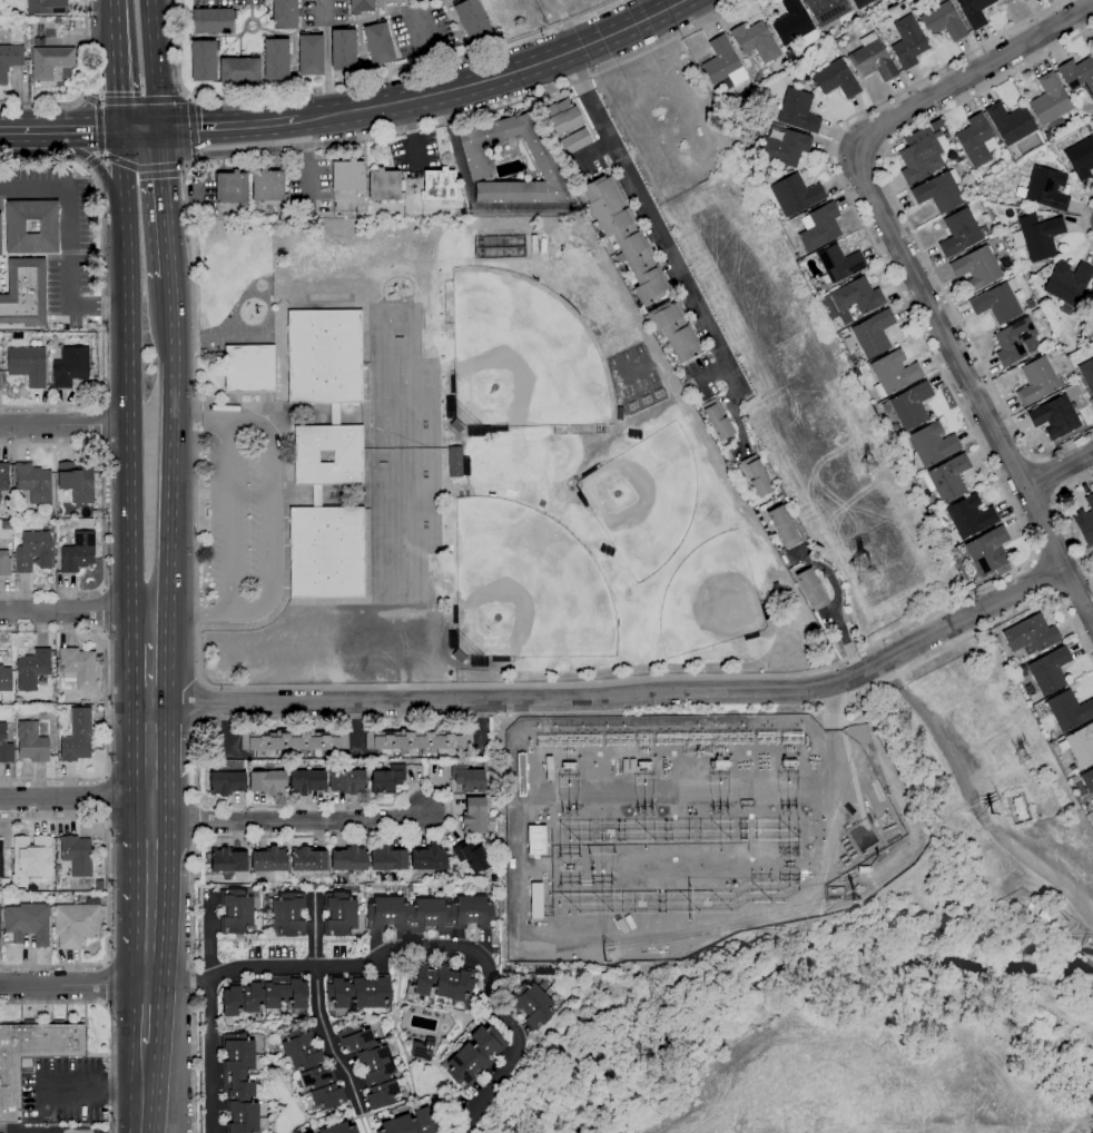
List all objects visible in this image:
building: (1022, 0)
building: (1024, 0)
parking lot: (226, 1)
building: (1006, 1)
building: (860, 3)
building: (47, 6)
building: (362, 6)
building: (905, 6)
building: (827, 9)
building: (974, 11)
parking lot: (324, 12)
building: (285, 14)
building: (472, 19)
building: (23, 21)
building: (213, 21)
building: (944, 21)
building: (792, 22)
parking lot: (420, 29)
building: (39, 41)
building: (755, 41)
building: (908, 42)
building: (378, 43)
building: (343, 49)
building: (788, 51)
building: (311, 56)
building: (276, 58)
road: (327, 58)
building: (872, 59)
building: (9, 60)
building: (50, 60)
building: (204, 60)
building: (722, 62)
building: (786, 63)
road: (118, 65)
road: (156, 65)
building: (239, 70)
road: (101, 73)
road: (495, 73)
road: (968, 75)
building: (1079, 78)
building: (836, 79)
road: (357, 80)
building: (799, 81)
road: (83, 90)
road: (89, 99)
road: (144, 99)
building: (1050, 100)
building: (798, 110)
building: (561, 117)
building: (1010, 122)
road: (229, 125)
road: (98, 128)
road: (194, 128)
road: (140, 129)
traffic signals: (160, 129)
building: (774, 129)
road: (88, 130)
traffic signals: (121, 130)
road: (28, 131)
building: (975, 139)
building: (573, 141)
building: (785, 147)
building: (1044, 149)
building: (1081, 158)
building: (919, 159)
road: (93, 161)
building: (545, 162)
road: (97, 166)
road: (144, 167)
building: (769, 169)
building: (347, 175)
building: (976, 178)
building: (268, 185)
building: (384, 185)
building: (439, 185)
building: (232, 187)
parking lot: (309, 187)
building: (1045, 188)
building: (939, 190)
building: (795, 194)
road: (167, 203)
building: (284, 208)
building: (461, 213)
road: (652, 217)
road: (1084, 221)
building: (31, 226)
building: (819, 226)
road: (913, 227)
building: (961, 233)
building: (1038, 236)
building: (624, 237)
building: (0, 239)
road: (67, 240)
building: (501, 246)
building: (838, 264)
building: (977, 268)
building: (1067, 284)
road: (101, 287)
building: (24, 293)
building: (857, 297)
building: (997, 302)
building: (1031, 304)
building: (1037, 312)
building: (674, 329)
building: (872, 333)
building: (1014, 341)
building: (326, 357)
park: (523, 357)
building: (28, 365)
building: (70, 367)
building: (249, 368)
road: (127, 371)
building: (894, 373)
building: (1087, 373)
building: (1036, 381)
building: (452, 384)
road: (967, 384)
building: (908, 406)
building: (699, 411)
building: (334, 414)
road: (733, 415)
building: (1056, 417)
building: (717, 418)
road: (63, 424)
road: (99, 424)
building: (456, 425)
building: (499, 428)
road: (174, 445)
building: (932, 445)
building: (347, 456)
building: (455, 461)
power tower: (867, 464)
road: (1056, 467)
building: (587, 473)
building: (757, 475)
building: (3, 476)
building: (947, 477)
road: (1045, 477)
building: (33, 482)
building: (76, 482)
road: (272, 483)
building: (316, 495)
building: (581, 497)
park: (643, 501)
parking lot: (233, 509)
road: (228, 512)
building: (82, 513)
building: (48, 514)
road: (104, 518)
building: (969, 518)
road: (1062, 519)
building: (1085, 520)
building: (782, 526)
building: (776, 543)
building: (1090, 548)
building: (988, 550)
building: (33, 551)
building: (78, 552)
building: (329, 552)
building: (4, 563)
power tower: (861, 571)
building: (1000, 571)
road: (1044, 575)
park: (524, 589)
building: (811, 589)
park: (712, 598)
road: (836, 605)
road: (188, 610)
road: (75, 611)
road: (101, 611)
building: (454, 613)
road: (1005, 618)
road: (149, 627)
building: (1031, 634)
building: (996, 639)
building: (459, 656)
building: (500, 659)
building: (78, 668)
building: (32, 669)
building: (1050, 670)
road: (150, 673)
building: (4, 679)
road: (446, 684)
road: (205, 686)
building: (1032, 690)
road: (621, 696)
building: (1033, 699)
road: (200, 705)
road: (106, 706)
building: (1069, 710)
road: (198, 723)
building: (77, 737)
building: (419, 739)
road: (151, 740)
building: (294, 740)
building: (31, 742)
building: (1080, 745)
building: (4, 746)
power tower: (1020, 758)
building: (643, 765)
building: (720, 765)
building: (569, 766)
building: (227, 778)
building: (1075, 778)
building: (387, 779)
building: (466, 779)
building: (1087, 779)
building: (267, 780)
building: (307, 781)
building: (347, 781)
road: (413, 786)
road: (104, 797)
road: (75, 798)
road: (971, 798)
road: (151, 799)
building: (1018, 808)
building: (474, 815)
power tower: (992, 815)
road: (291, 819)
power substation: (690, 829)
building: (536, 840)
building: (76, 855)
building: (473, 856)
building: (32, 857)
building: (429, 858)
building: (1, 859)
building: (269, 859)
building: (308, 859)
building: (348, 859)
building: (387, 859)
building: (228, 861)
building: (864, 869)
building: (494, 878)
building: (59, 888)
building: (410, 890)
road: (107, 891)
building: (26, 895)
building: (17, 899)
building: (76, 900)
road: (150, 900)
power tower: (854, 900)
building: (237, 909)
building: (430, 913)
building: (286, 914)
building: (339, 914)
building: (1045, 914)
building: (28, 923)
building: (76, 923)
road: (414, 945)
power tower: (604, 960)
road: (75, 983)
building: (441, 983)
road: (107, 984)
building: (356, 994)
building: (265, 995)
building: (531, 1004)
road: (318, 1008)
road: (147, 1012)
road: (110, 1015)
building: (422, 1050)
building: (32, 1055)
building: (475, 1055)
road: (210, 1056)
building: (372, 1064)
building: (308, 1070)
building: (239, 1083)
road: (144, 1088)
parking lot: (63, 1090)
building: (411, 1123)
building: (338, 1129)
building: (265, 1131)
building: (299, 1132)

